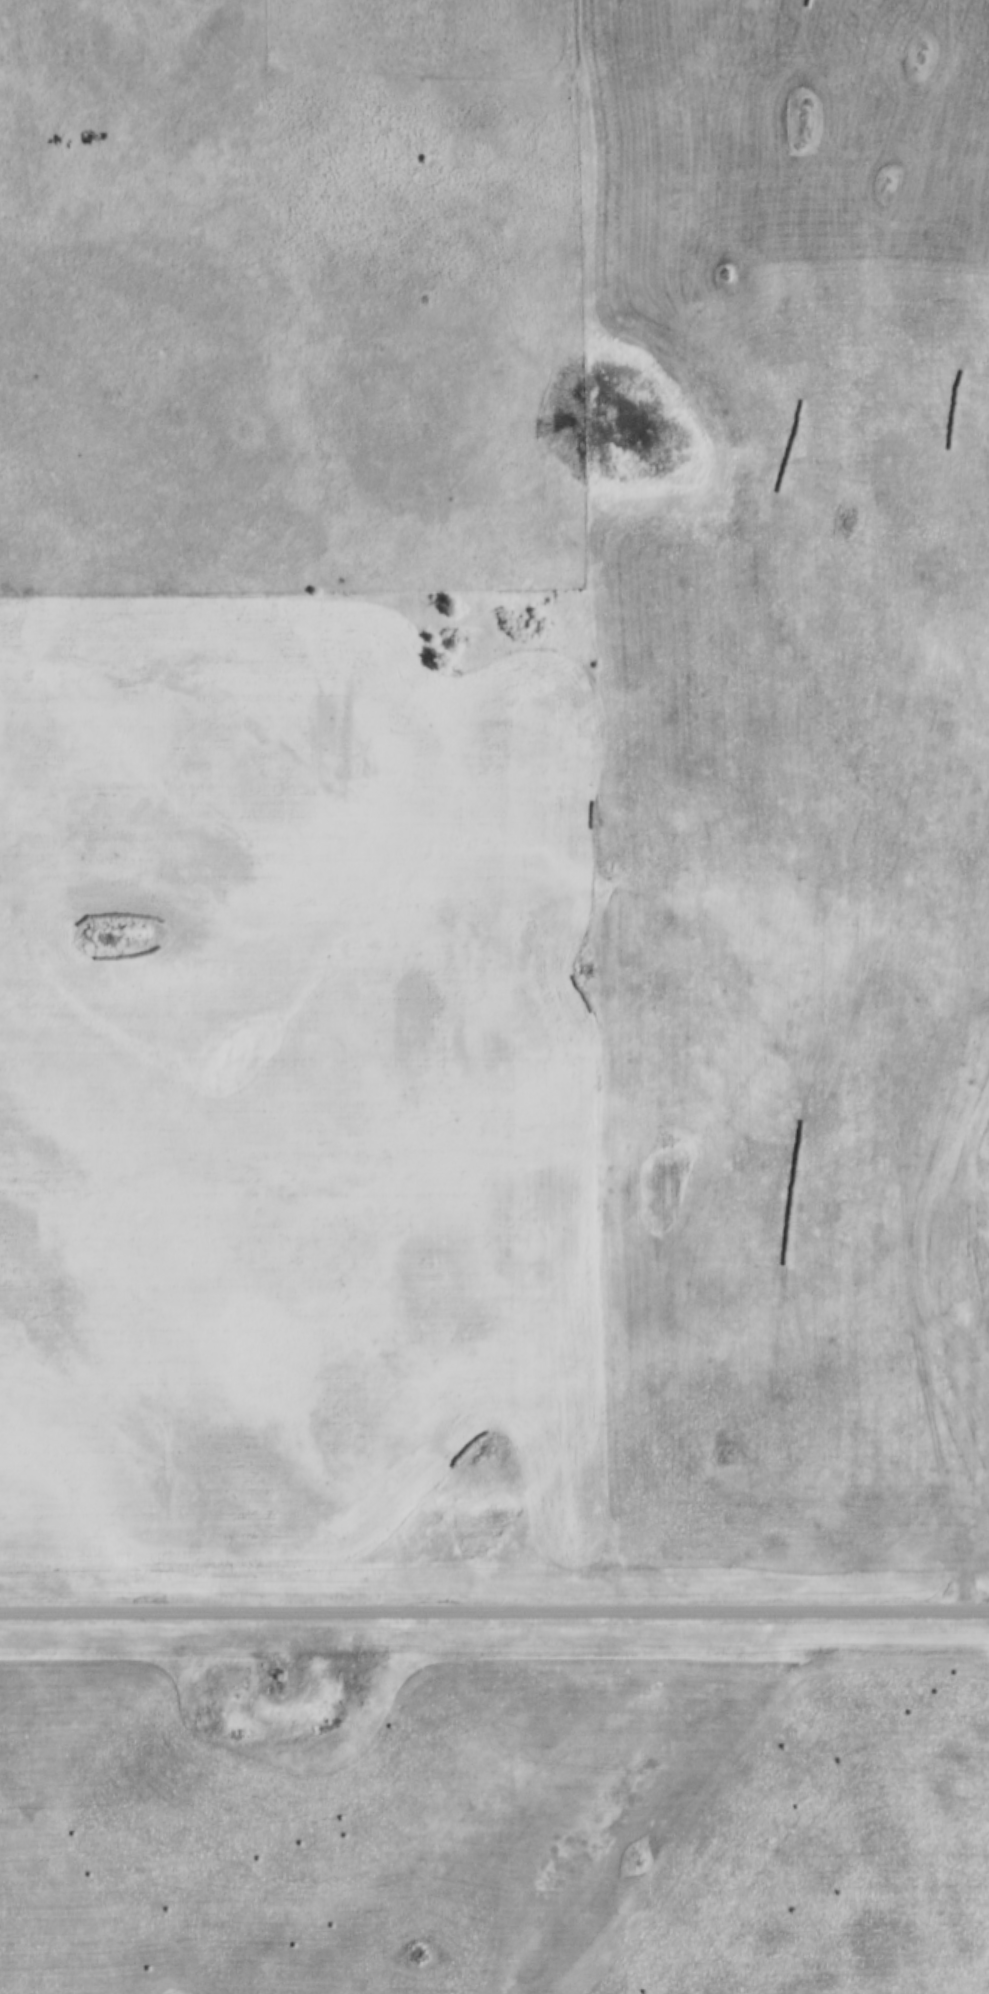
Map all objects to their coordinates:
road: (494, 1610)

